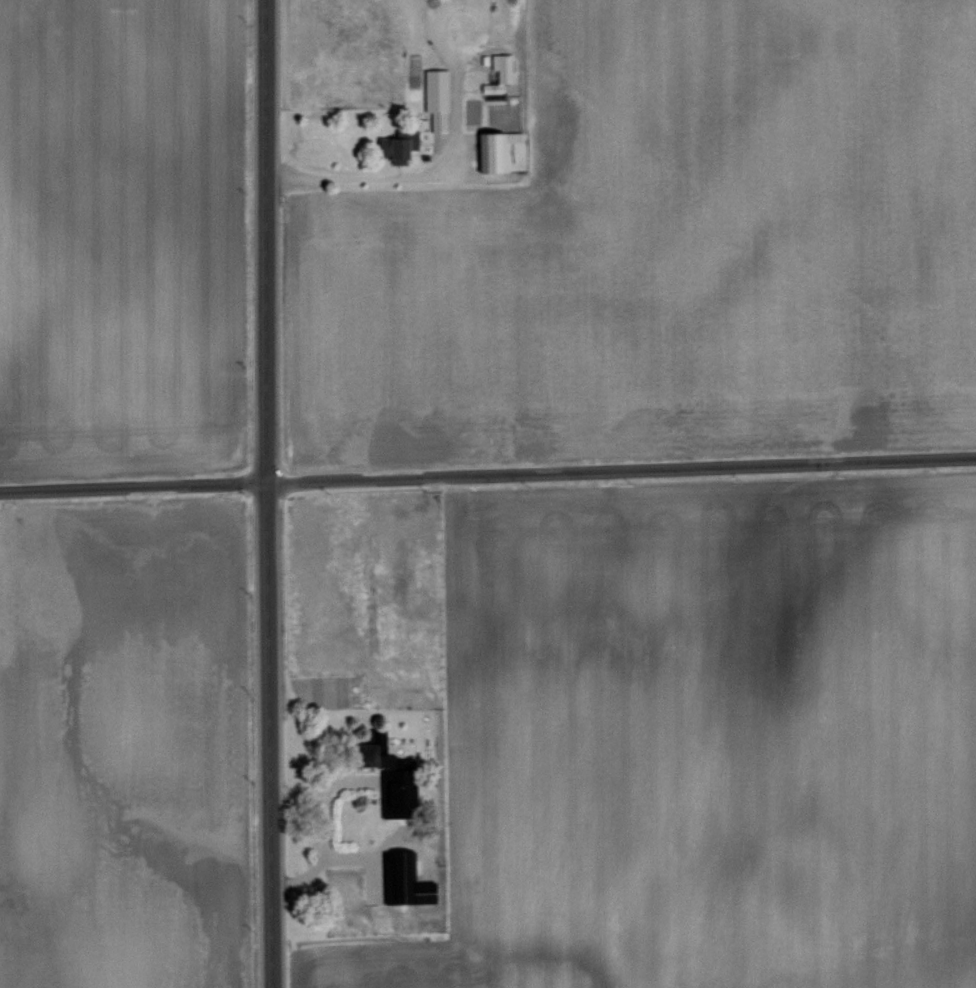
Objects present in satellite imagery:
building: (497, 71)
building: (434, 97)
building: (423, 136)
building: (398, 144)
building: (493, 148)
road: (364, 177)
road: (487, 474)
road: (264, 494)
building: (388, 769)
building: (406, 880)

